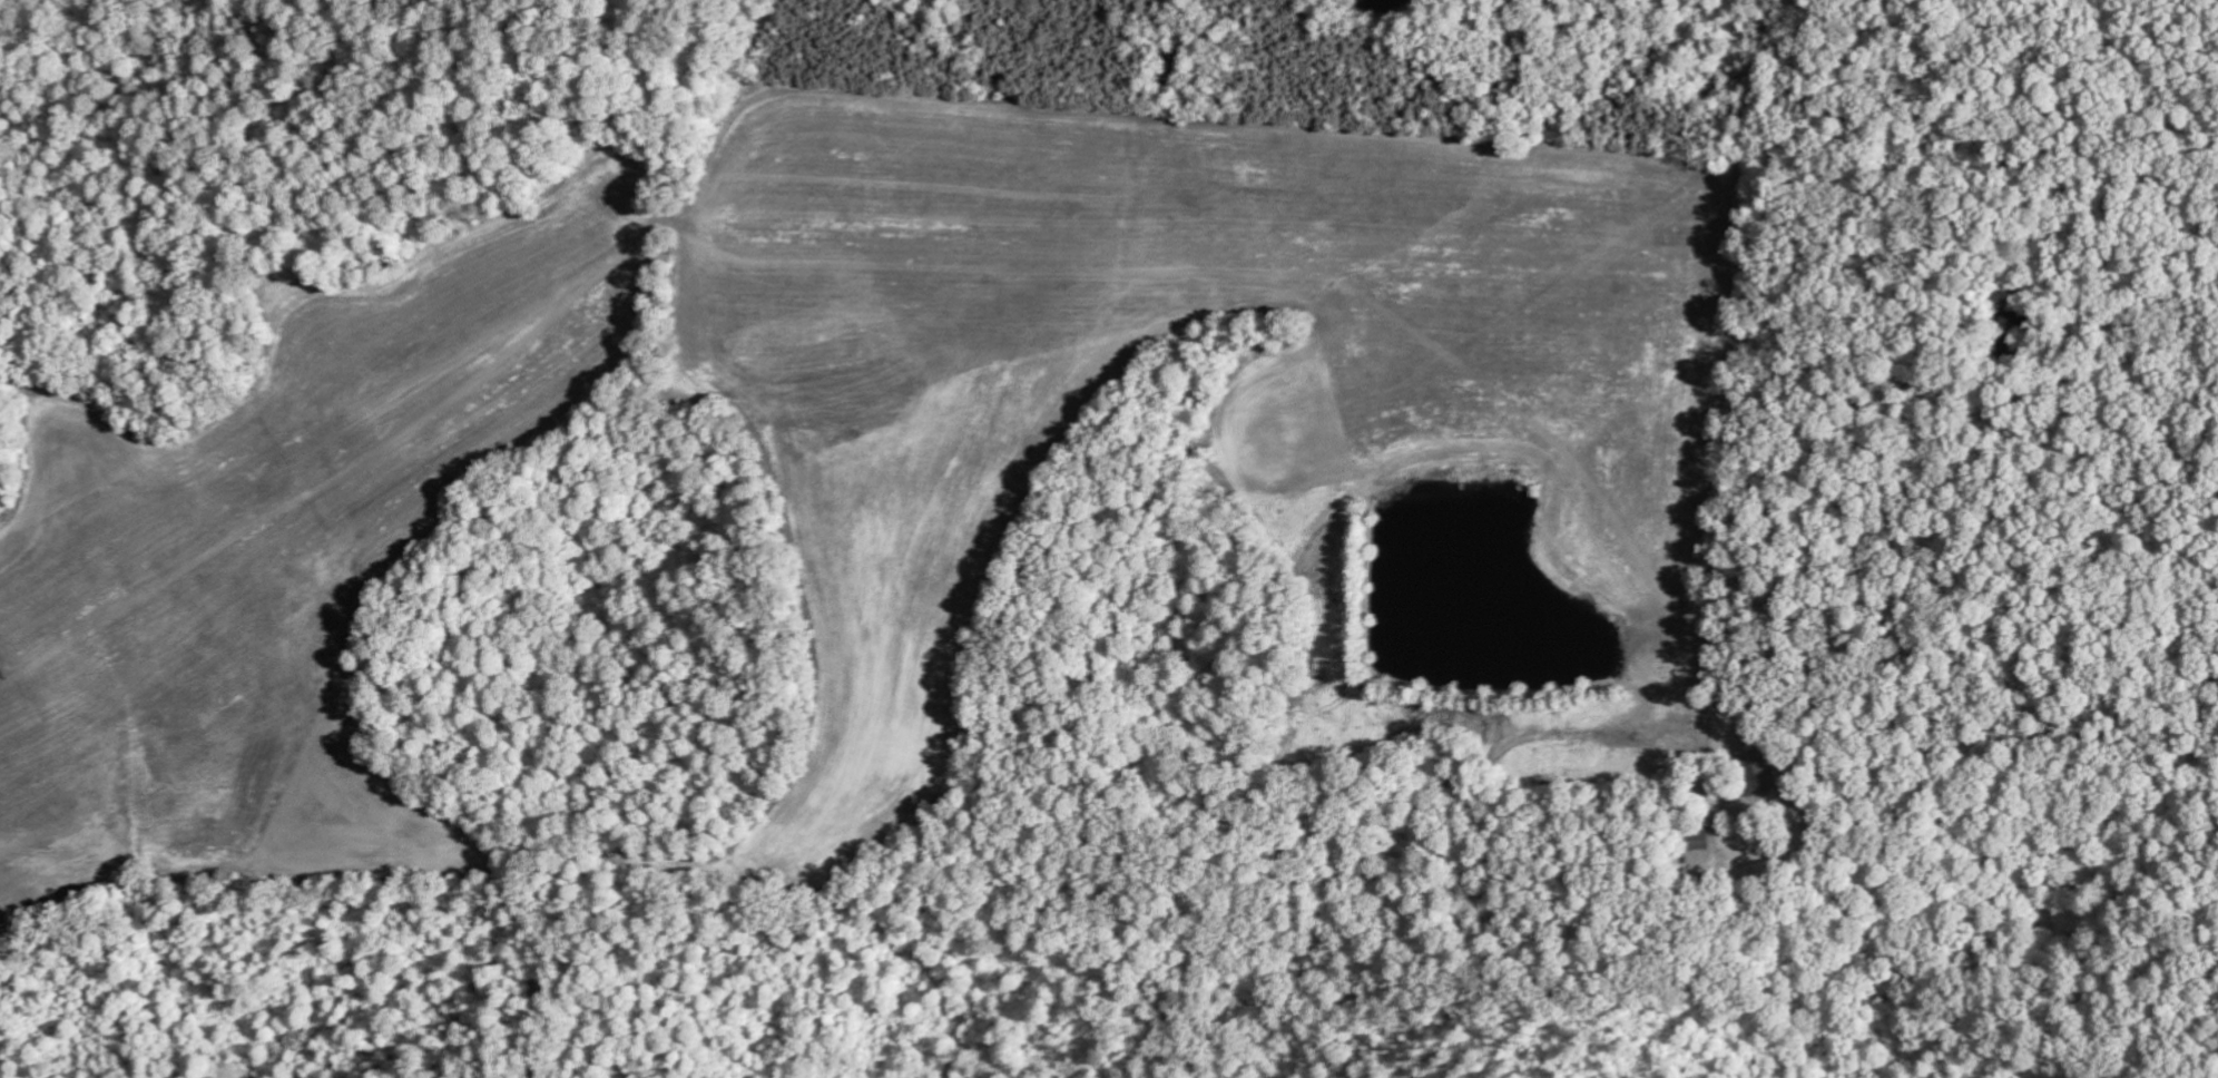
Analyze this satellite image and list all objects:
road: (419, 518)
road: (1826, 543)

